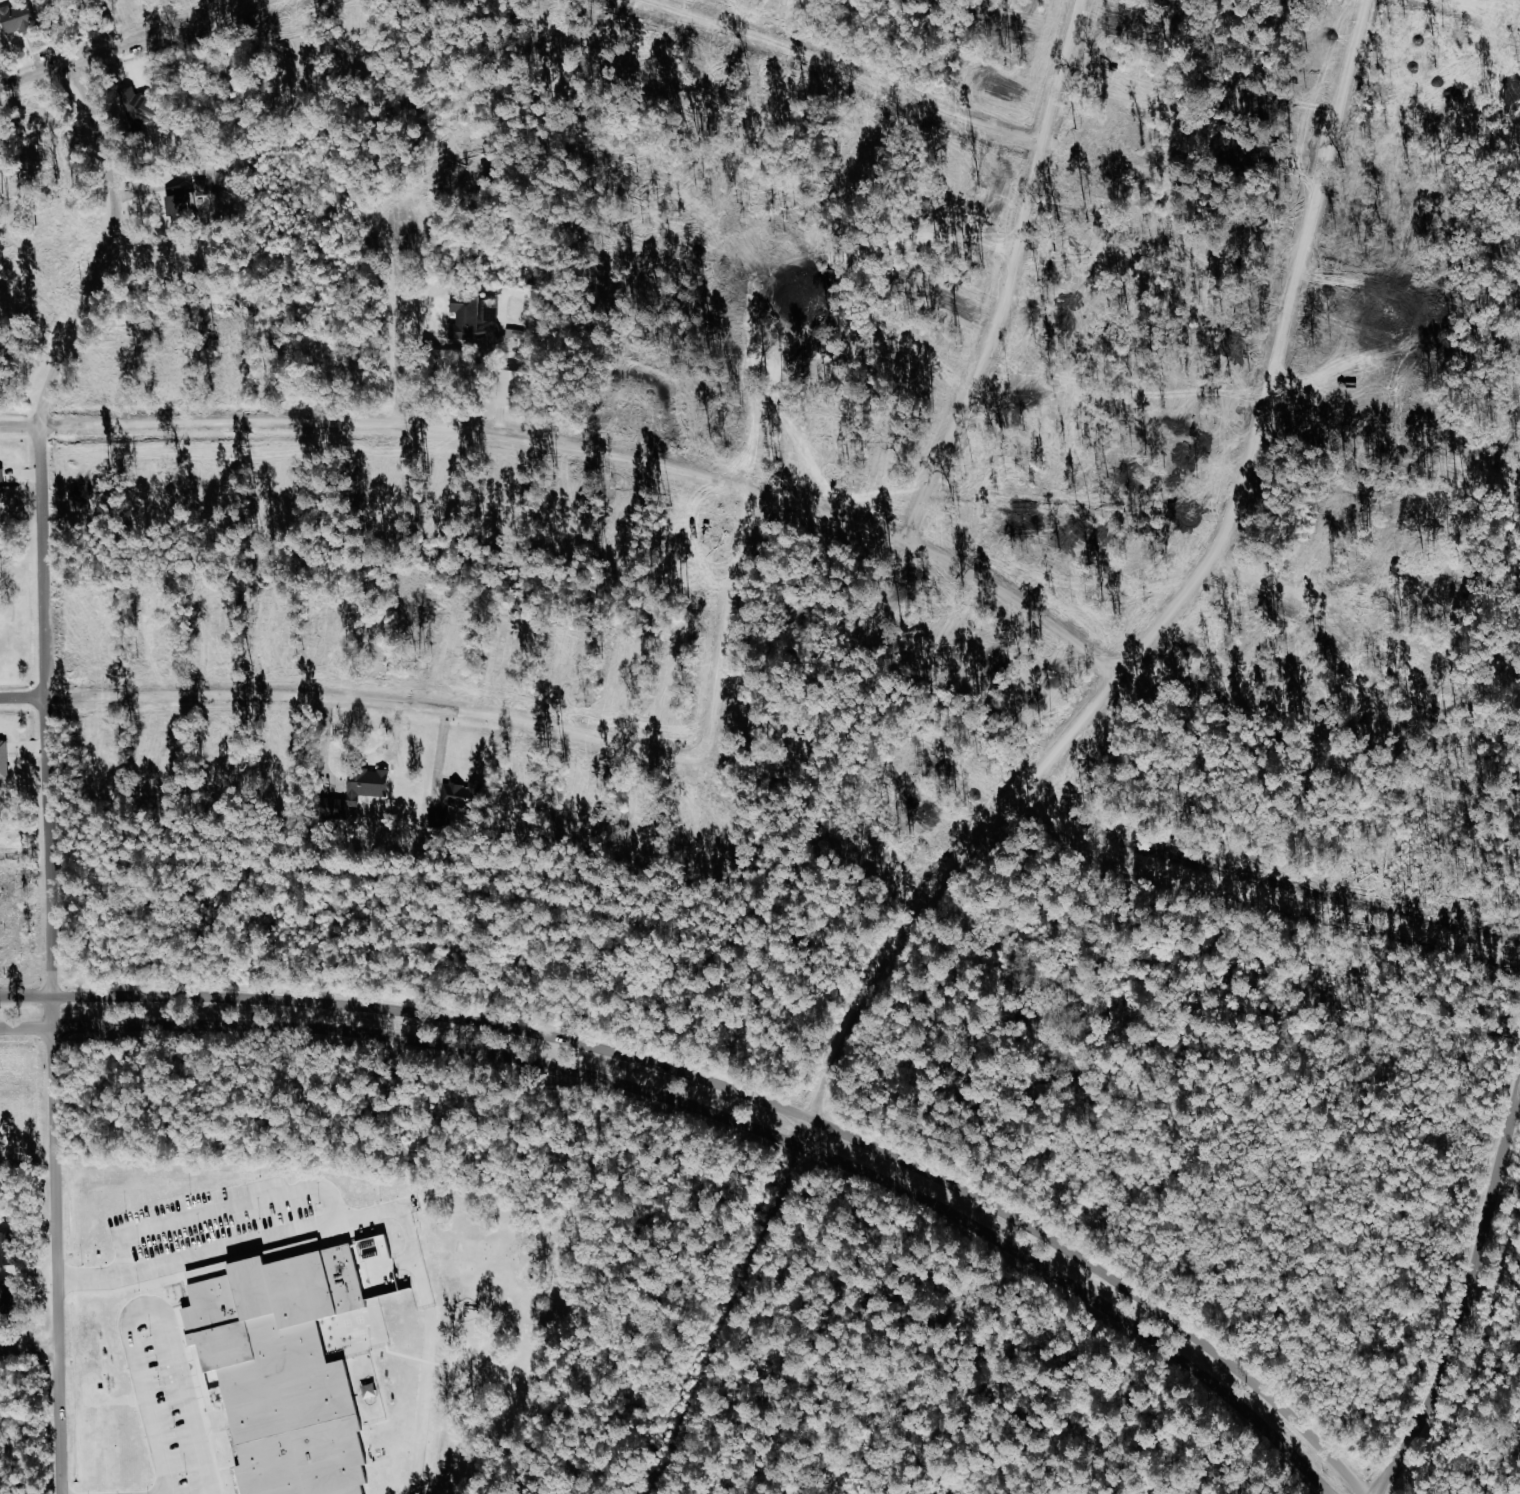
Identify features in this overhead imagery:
building: (19, 16)
road: (131, 45)
road: (844, 74)
building: (138, 107)
building: (202, 197)
road: (1012, 274)
road: (395, 321)
building: (465, 321)
road: (584, 444)
building: (2, 481)
road: (1281, 582)
road: (492, 721)
road: (439, 759)
road: (1043, 760)
building: (4, 763)
road: (49, 768)
building: (362, 788)
building: (461, 797)
road: (1259, 893)
road: (738, 1092)
road: (1518, 1106)
road: (717, 1112)
road: (223, 1212)
road: (372, 1213)
building: (7, 1296)
road: (1468, 1302)
road: (147, 1308)
road: (30, 1347)
building: (287, 1373)

